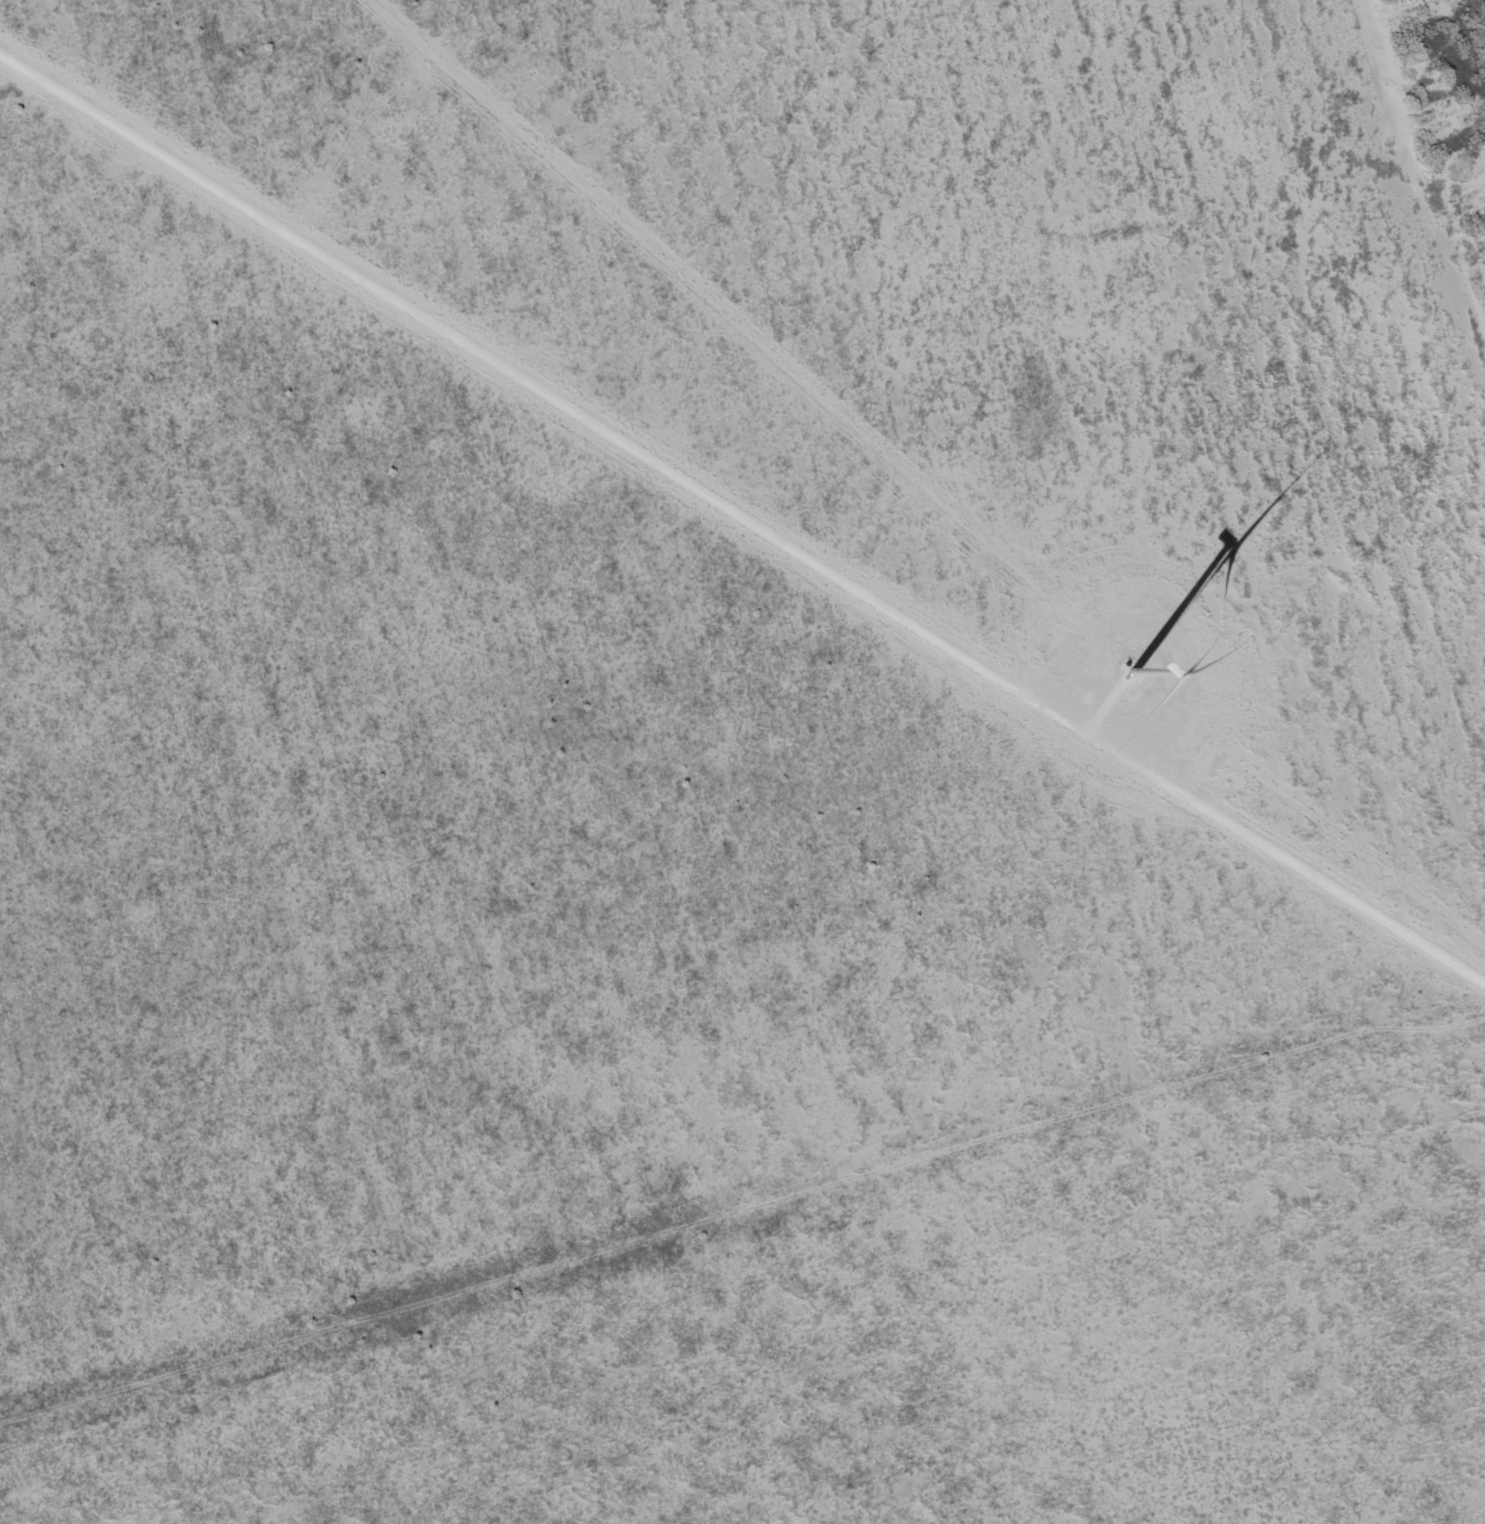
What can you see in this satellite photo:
wind turbine: (1121, 688)

